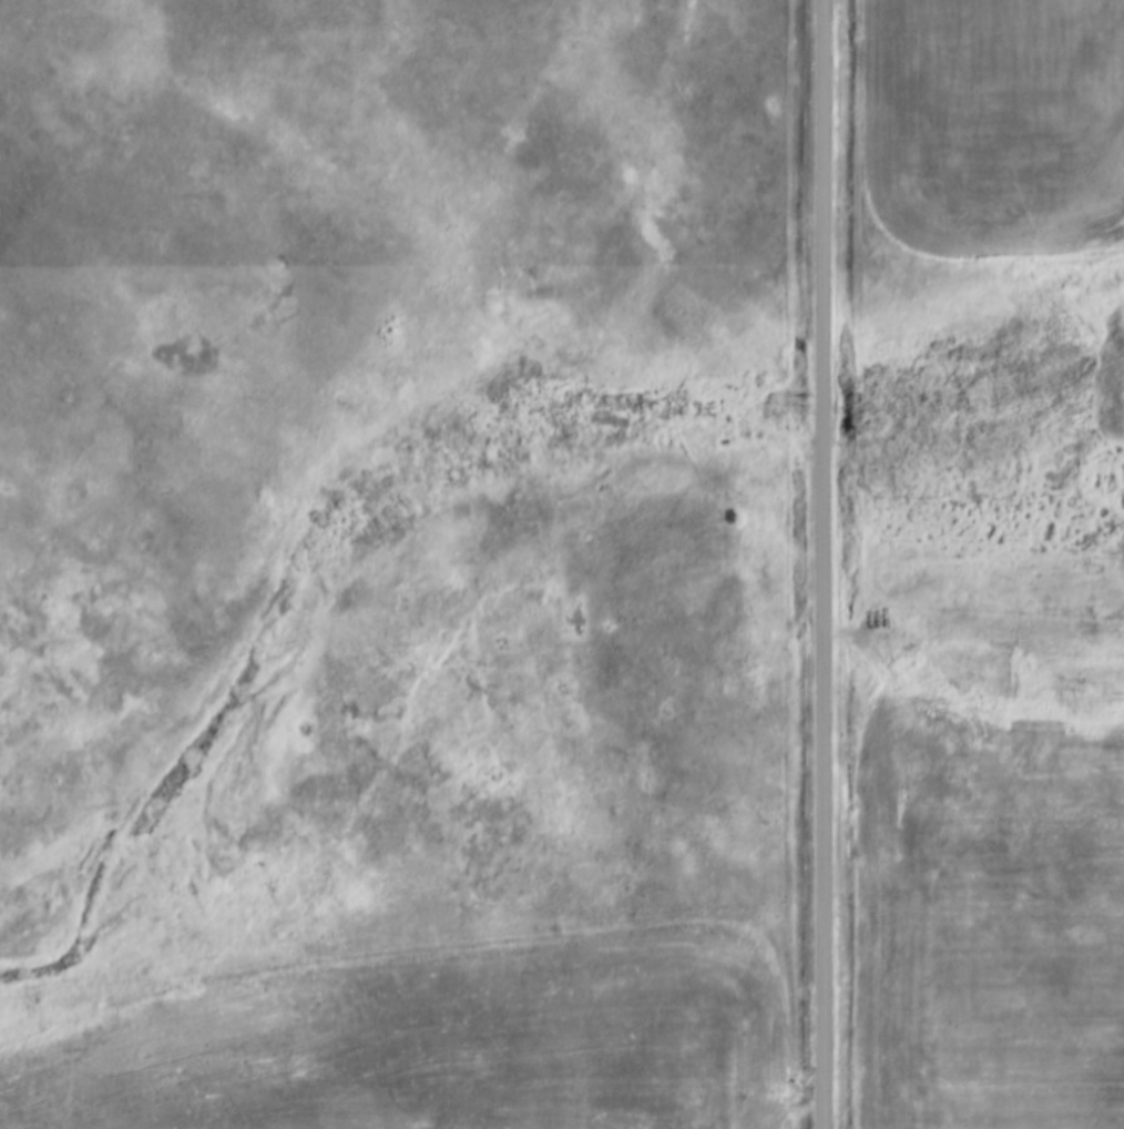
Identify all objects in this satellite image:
road: (821, 563)

